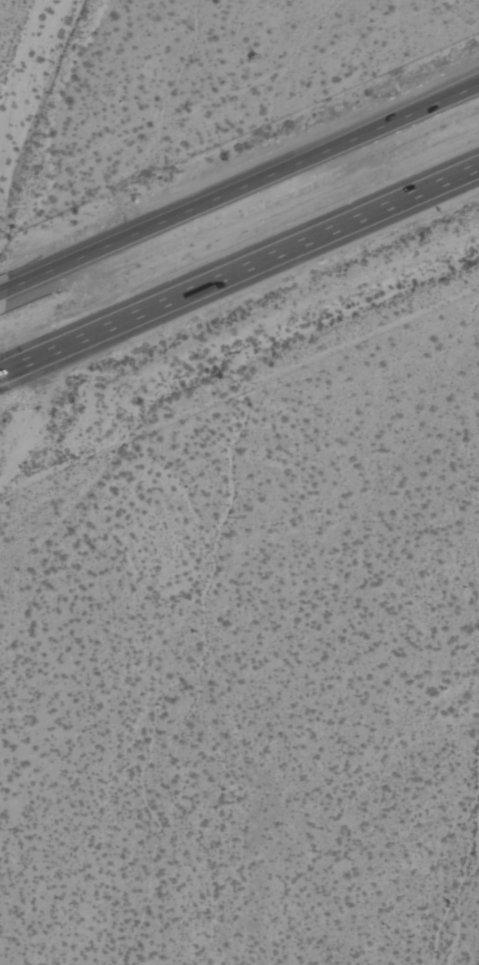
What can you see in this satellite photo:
road: (243, 187)
railway: (239, 238)
road: (239, 274)
road: (3, 293)

